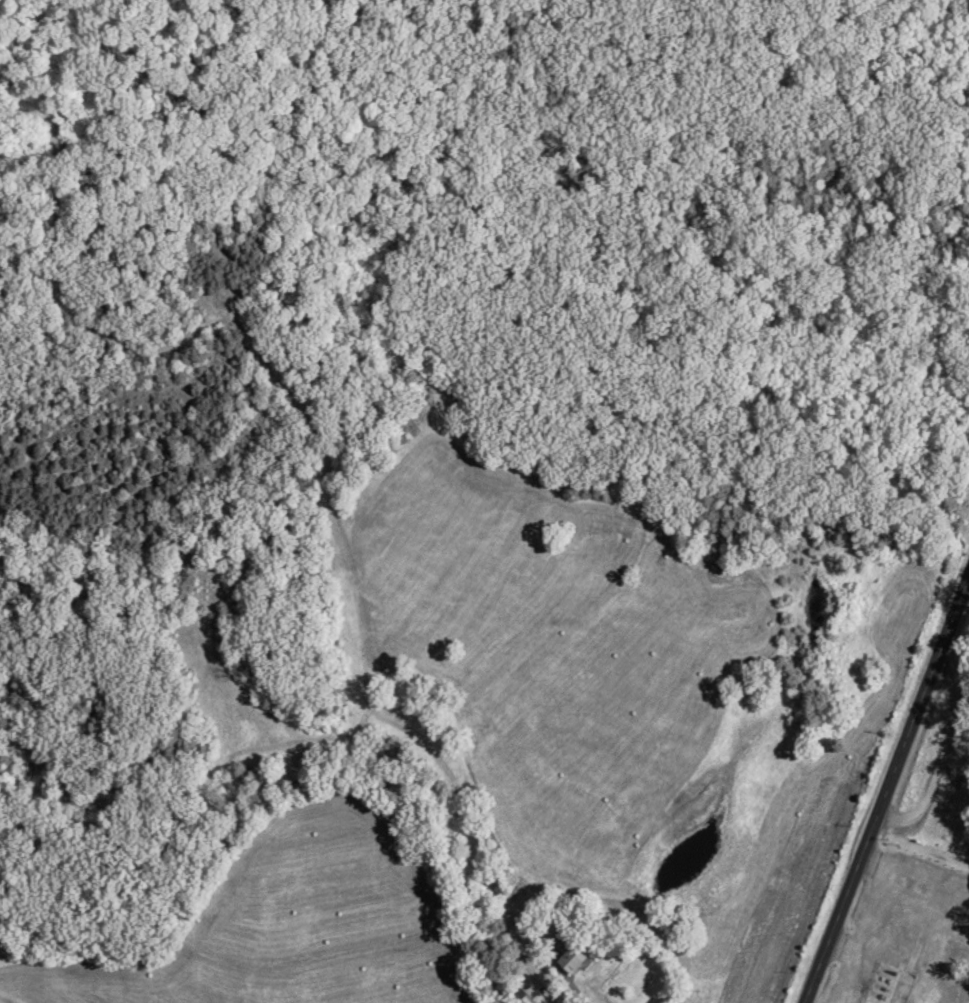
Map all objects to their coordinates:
road: (889, 794)
building: (496, 888)
building: (565, 955)
building: (886, 985)
building: (523, 1000)

